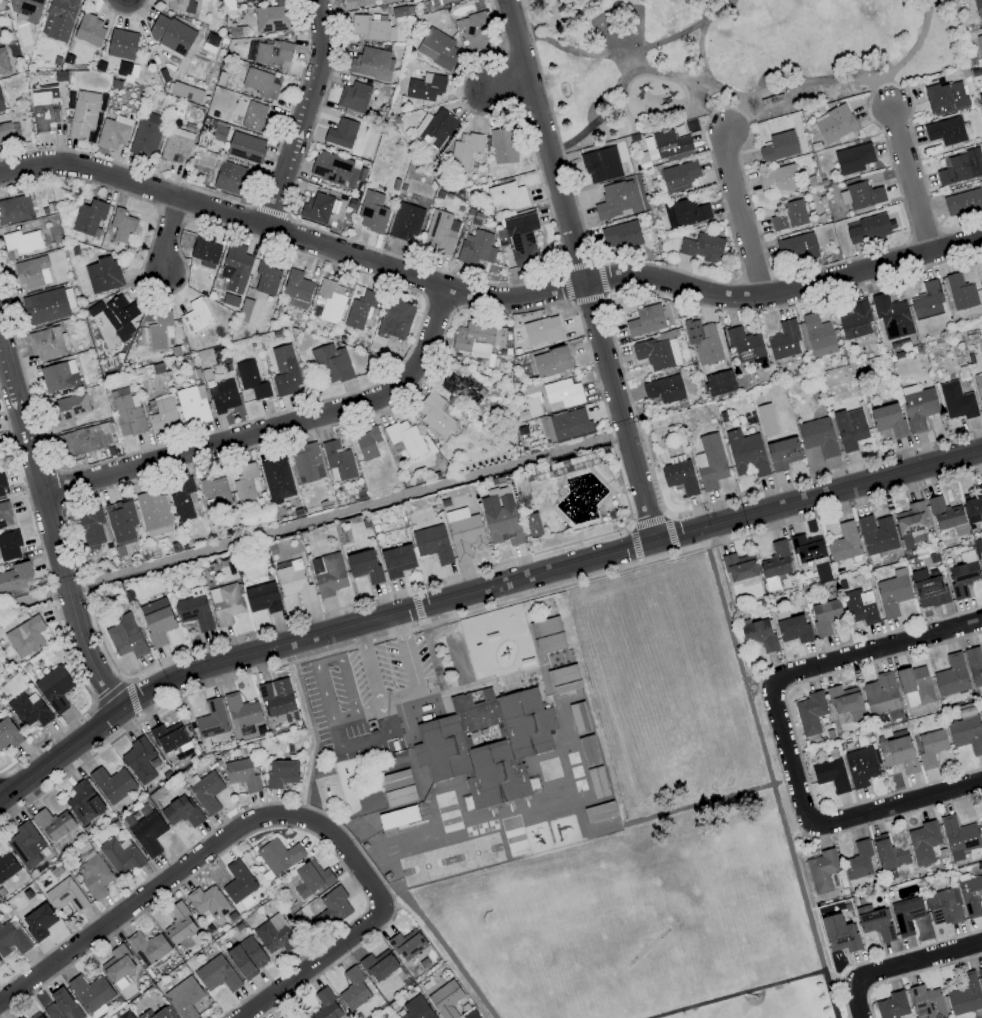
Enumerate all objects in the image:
building: (375, 0)
building: (251, 1)
building: (440, 1)
building: (356, 3)
building: (180, 5)
building: (28, 9)
building: (978, 10)
building: (273, 17)
building: (58, 20)
building: (371, 28)
building: (90, 31)
building: (474, 32)
building: (171, 35)
building: (122, 44)
building: (979, 45)
building: (437, 48)
building: (269, 52)
road: (700, 55)
park: (722, 56)
building: (2, 63)
building: (371, 63)
road: (639, 75)
road: (506, 81)
building: (259, 82)
building: (421, 88)
building: (186, 92)
building: (943, 96)
building: (353, 97)
road: (887, 97)
building: (3, 99)
road: (743, 100)
building: (46, 110)
road: (708, 110)
building: (84, 113)
road: (306, 113)
building: (255, 116)
road: (671, 116)
road: (732, 116)
building: (833, 123)
road: (699, 127)
building: (434, 128)
building: (945, 131)
building: (114, 132)
building: (147, 132)
building: (3, 134)
building: (341, 134)
building: (176, 144)
building: (245, 145)
building: (502, 146)
building: (671, 146)
building: (779, 147)
building: (463, 151)
building: (852, 158)
building: (600, 160)
building: (960, 167)
building: (332, 168)
building: (678, 176)
building: (233, 178)
building: (778, 178)
road: (911, 185)
building: (860, 196)
building: (506, 197)
building: (614, 200)
building: (963, 204)
building: (317, 207)
building: (15, 209)
building: (373, 211)
building: (684, 213)
road: (738, 213)
building: (89, 215)
building: (789, 216)
building: (405, 222)
building: (122, 225)
building: (867, 228)
building: (440, 232)
road: (170, 234)
building: (620, 235)
building: (521, 239)
building: (22, 241)
building: (701, 247)
building: (204, 248)
building: (475, 248)
building: (796, 248)
building: (236, 259)
road: (578, 272)
building: (30, 273)
building: (102, 274)
building: (267, 276)
building: (297, 288)
building: (960, 293)
road: (484, 295)
building: (331, 301)
building: (926, 301)
building: (45, 306)
building: (361, 310)
building: (123, 315)
building: (197, 316)
building: (891, 317)
building: (395, 319)
building: (645, 320)
building: (855, 320)
building: (159, 330)
building: (541, 331)
building: (817, 336)
building: (473, 339)
building: (784, 340)
building: (45, 343)
building: (706, 345)
building: (744, 345)
building: (657, 352)
building: (333, 362)
building: (551, 362)
building: (286, 371)
building: (58, 378)
building: (252, 379)
building: (462, 387)
building: (664, 389)
building: (978, 389)
building: (562, 394)
building: (224, 395)
building: (956, 401)
building: (192, 406)
building: (917, 406)
building: (70, 408)
building: (127, 411)
building: (164, 414)
building: (434, 414)
building: (766, 420)
building: (888, 420)
building: (569, 424)
road: (277, 427)
building: (849, 429)
building: (818, 437)
building: (88, 438)
building: (405, 438)
building: (366, 444)
building: (746, 454)
building: (782, 454)
building: (337, 461)
building: (709, 462)
building: (307, 463)
road: (825, 472)
building: (679, 477)
building: (276, 480)
building: (1, 482)
building: (246, 485)
building: (215, 491)
building: (182, 499)
building: (974, 503)
building: (153, 514)
building: (944, 514)
building: (4, 515)
road: (666, 515)
building: (500, 518)
building: (120, 522)
road: (647, 522)
building: (910, 523)
road: (50, 525)
building: (532, 525)
building: (90, 527)
road: (628, 527)
building: (464, 533)
road: (669, 533)
building: (876, 534)
road: (633, 543)
building: (844, 543)
building: (432, 544)
building: (9, 546)
building: (807, 548)
road: (675, 552)
building: (397, 561)
building: (775, 561)
road: (638, 562)
building: (364, 566)
building: (739, 567)
building: (981, 567)
building: (821, 572)
building: (328, 574)
building: (962, 574)
building: (15, 577)
building: (293, 580)
building: (927, 589)
road: (411, 591)
road: (476, 593)
building: (892, 593)
road: (375, 597)
building: (262, 598)
building: (224, 604)
road: (416, 607)
building: (859, 607)
building: (194, 610)
road: (474, 612)
building: (824, 616)
building: (157, 620)
road: (421, 623)
road: (401, 626)
building: (792, 629)
building: (758, 634)
building: (547, 635)
road: (362, 636)
building: (25, 637)
building: (126, 637)
road: (328, 662)
building: (974, 666)
road: (806, 670)
building: (951, 676)
road: (126, 679)
building: (563, 679)
building: (914, 686)
road: (759, 687)
building: (54, 688)
road: (109, 694)
building: (880, 694)
road: (401, 695)
road: (131, 697)
building: (276, 697)
building: (845, 701)
road: (90, 708)
building: (29, 710)
building: (241, 711)
building: (810, 713)
building: (981, 713)
road: (139, 717)
building: (211, 720)
road: (312, 732)
building: (8, 734)
building: (966, 734)
building: (168, 737)
road: (44, 740)
road: (366, 742)
building: (486, 743)
building: (930, 748)
building: (896, 751)
building: (139, 760)
building: (860, 767)
building: (241, 774)
building: (281, 774)
building: (830, 775)
road: (770, 782)
building: (112, 784)
building: (533, 785)
building: (206, 792)
road: (708, 801)
building: (83, 803)
road: (896, 804)
building: (181, 811)
building: (53, 824)
building: (980, 826)
building: (148, 833)
building: (958, 837)
park: (654, 842)
building: (923, 842)
building: (25, 845)
building: (888, 853)
building: (120, 856)
building: (278, 856)
road: (198, 857)
building: (858, 861)
building: (7, 866)
building: (821, 871)
building: (95, 876)
building: (310, 879)
building: (237, 882)
building: (65, 895)
building: (971, 896)
building: (207, 903)
building: (332, 906)
building: (943, 907)
park: (721, 913)
building: (906, 915)
park: (631, 919)
building: (38, 922)
building: (874, 922)
building: (178, 924)
building: (839, 934)
building: (274, 935)
building: (12, 939)
building: (406, 944)
road: (438, 944)
building: (147, 948)
building: (246, 957)
building: (117, 966)
building: (378, 966)
road: (900, 966)
road: (309, 967)
building: (216, 975)
building: (980, 975)
building: (353, 989)
road: (754, 989)
building: (90, 993)
building: (964, 995)
building: (184, 997)
building: (445, 999)
building: (927, 1001)
building: (61, 1005)
building: (325, 1005)
building: (891, 1006)
building: (415, 1008)
park: (773, 1013)
building: (158, 1014)
building: (36, 1015)
building: (21, 1017)
building: (282, 1017)

